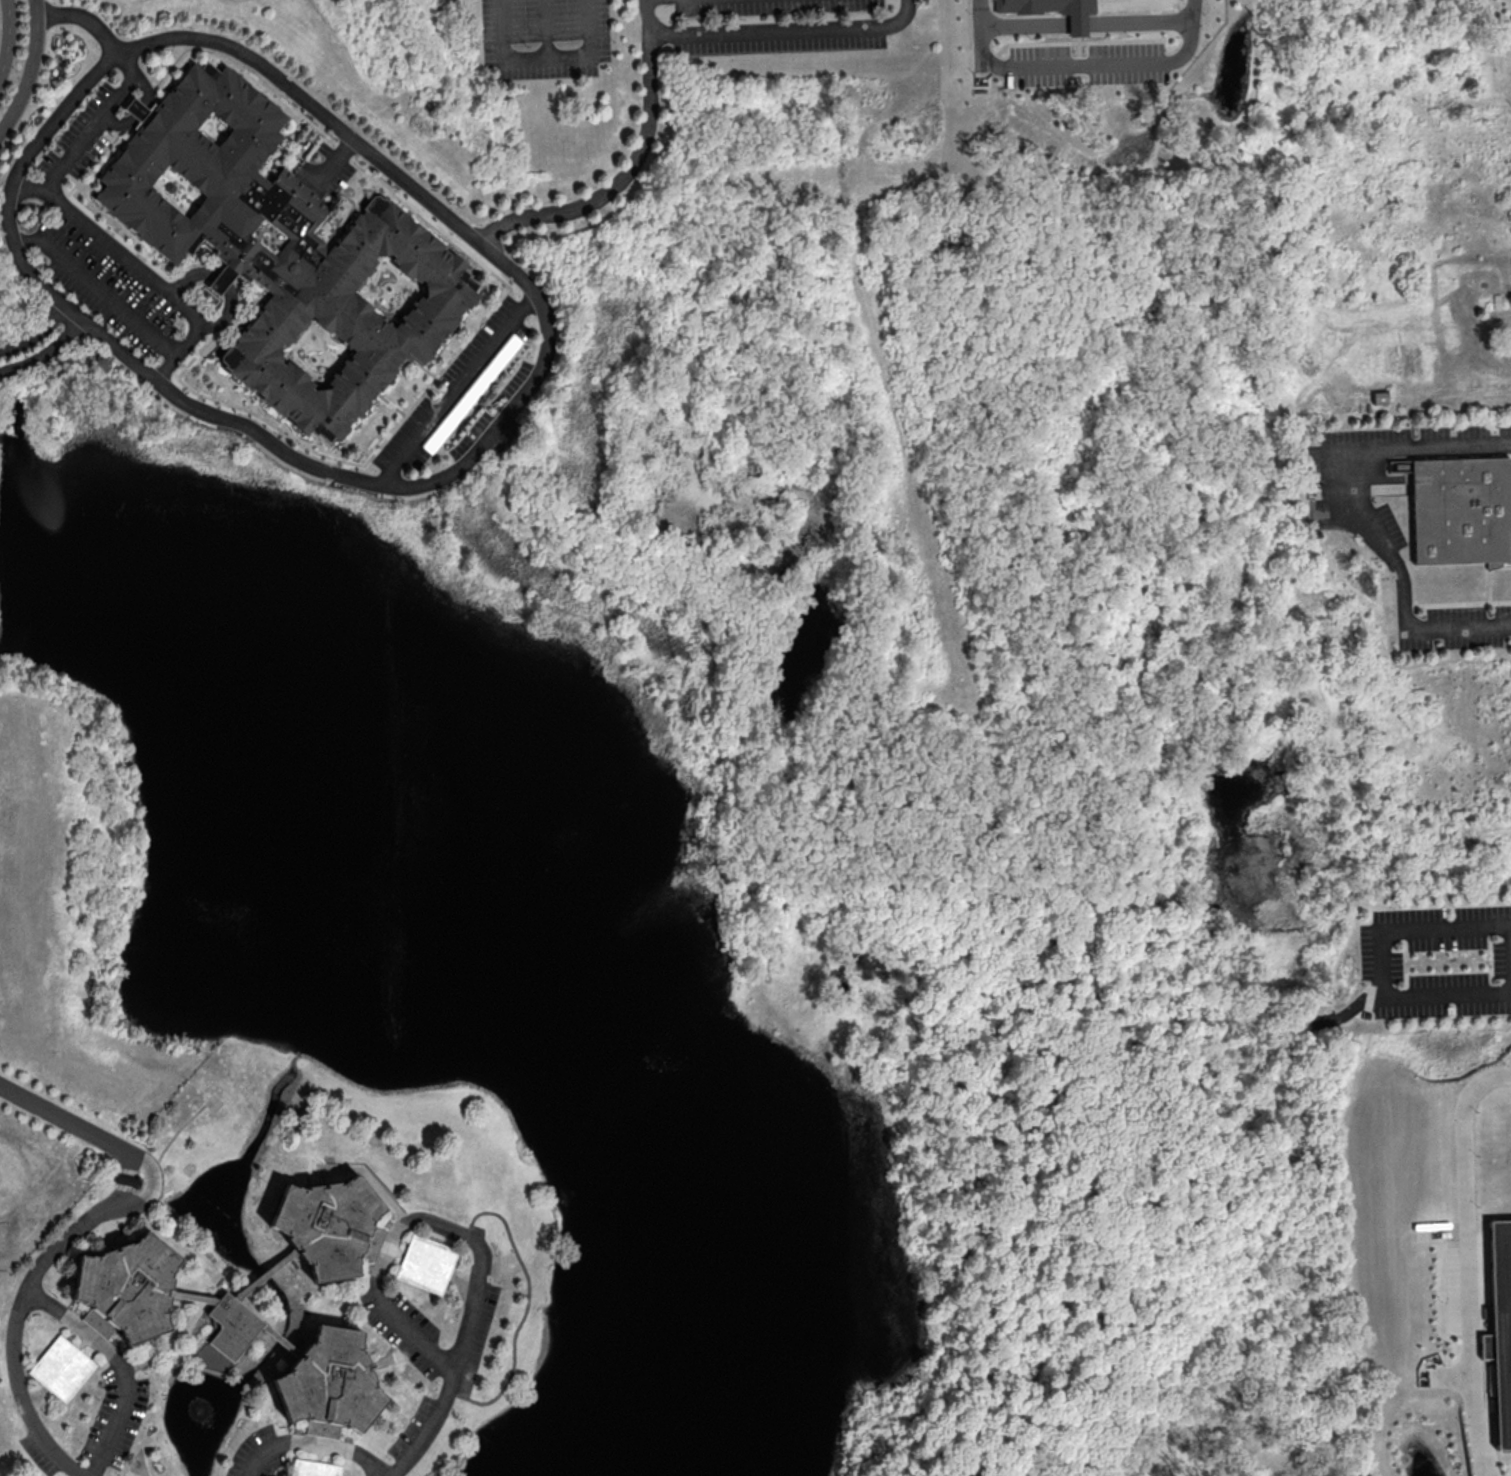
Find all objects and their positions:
building: (1057, 10)
road: (1086, 22)
parking lot: (777, 24)
road: (545, 28)
road: (782, 30)
road: (8, 36)
parking lot: (546, 36)
road: (545, 56)
road: (1079, 65)
road: (29, 68)
road: (147, 98)
building: (140, 108)
road: (90, 130)
road: (629, 167)
road: (11, 180)
road: (111, 244)
building: (282, 249)
building: (224, 279)
road: (96, 287)
road: (542, 306)
road: (226, 313)
road: (36, 332)
road: (44, 351)
road: (457, 389)
road: (1417, 451)
building: (1461, 511)
road: (1402, 589)
road: (1379, 962)
road: (1348, 1010)
helipad: (214, 1102)
road: (70, 1123)
road: (175, 1134)
road: (126, 1181)
road: (151, 1192)
building: (330, 1225)
road: (391, 1250)
road: (1466, 1259)
building: (427, 1263)
road: (265, 1273)
road: (464, 1278)
building: (127, 1288)
road: (192, 1296)
road: (380, 1298)
road: (526, 1309)
building: (1501, 1324)
building: (232, 1325)
road: (13, 1329)
road: (464, 1336)
road: (85, 1337)
road: (281, 1340)
road: (171, 1341)
road: (189, 1348)
road: (395, 1354)
building: (212, 1358)
road: (119, 1364)
building: (61, 1368)
building: (330, 1384)
road: (34, 1396)
fountain: (198, 1411)
road: (313, 1443)
road: (319, 1448)
building: (314, 1468)

